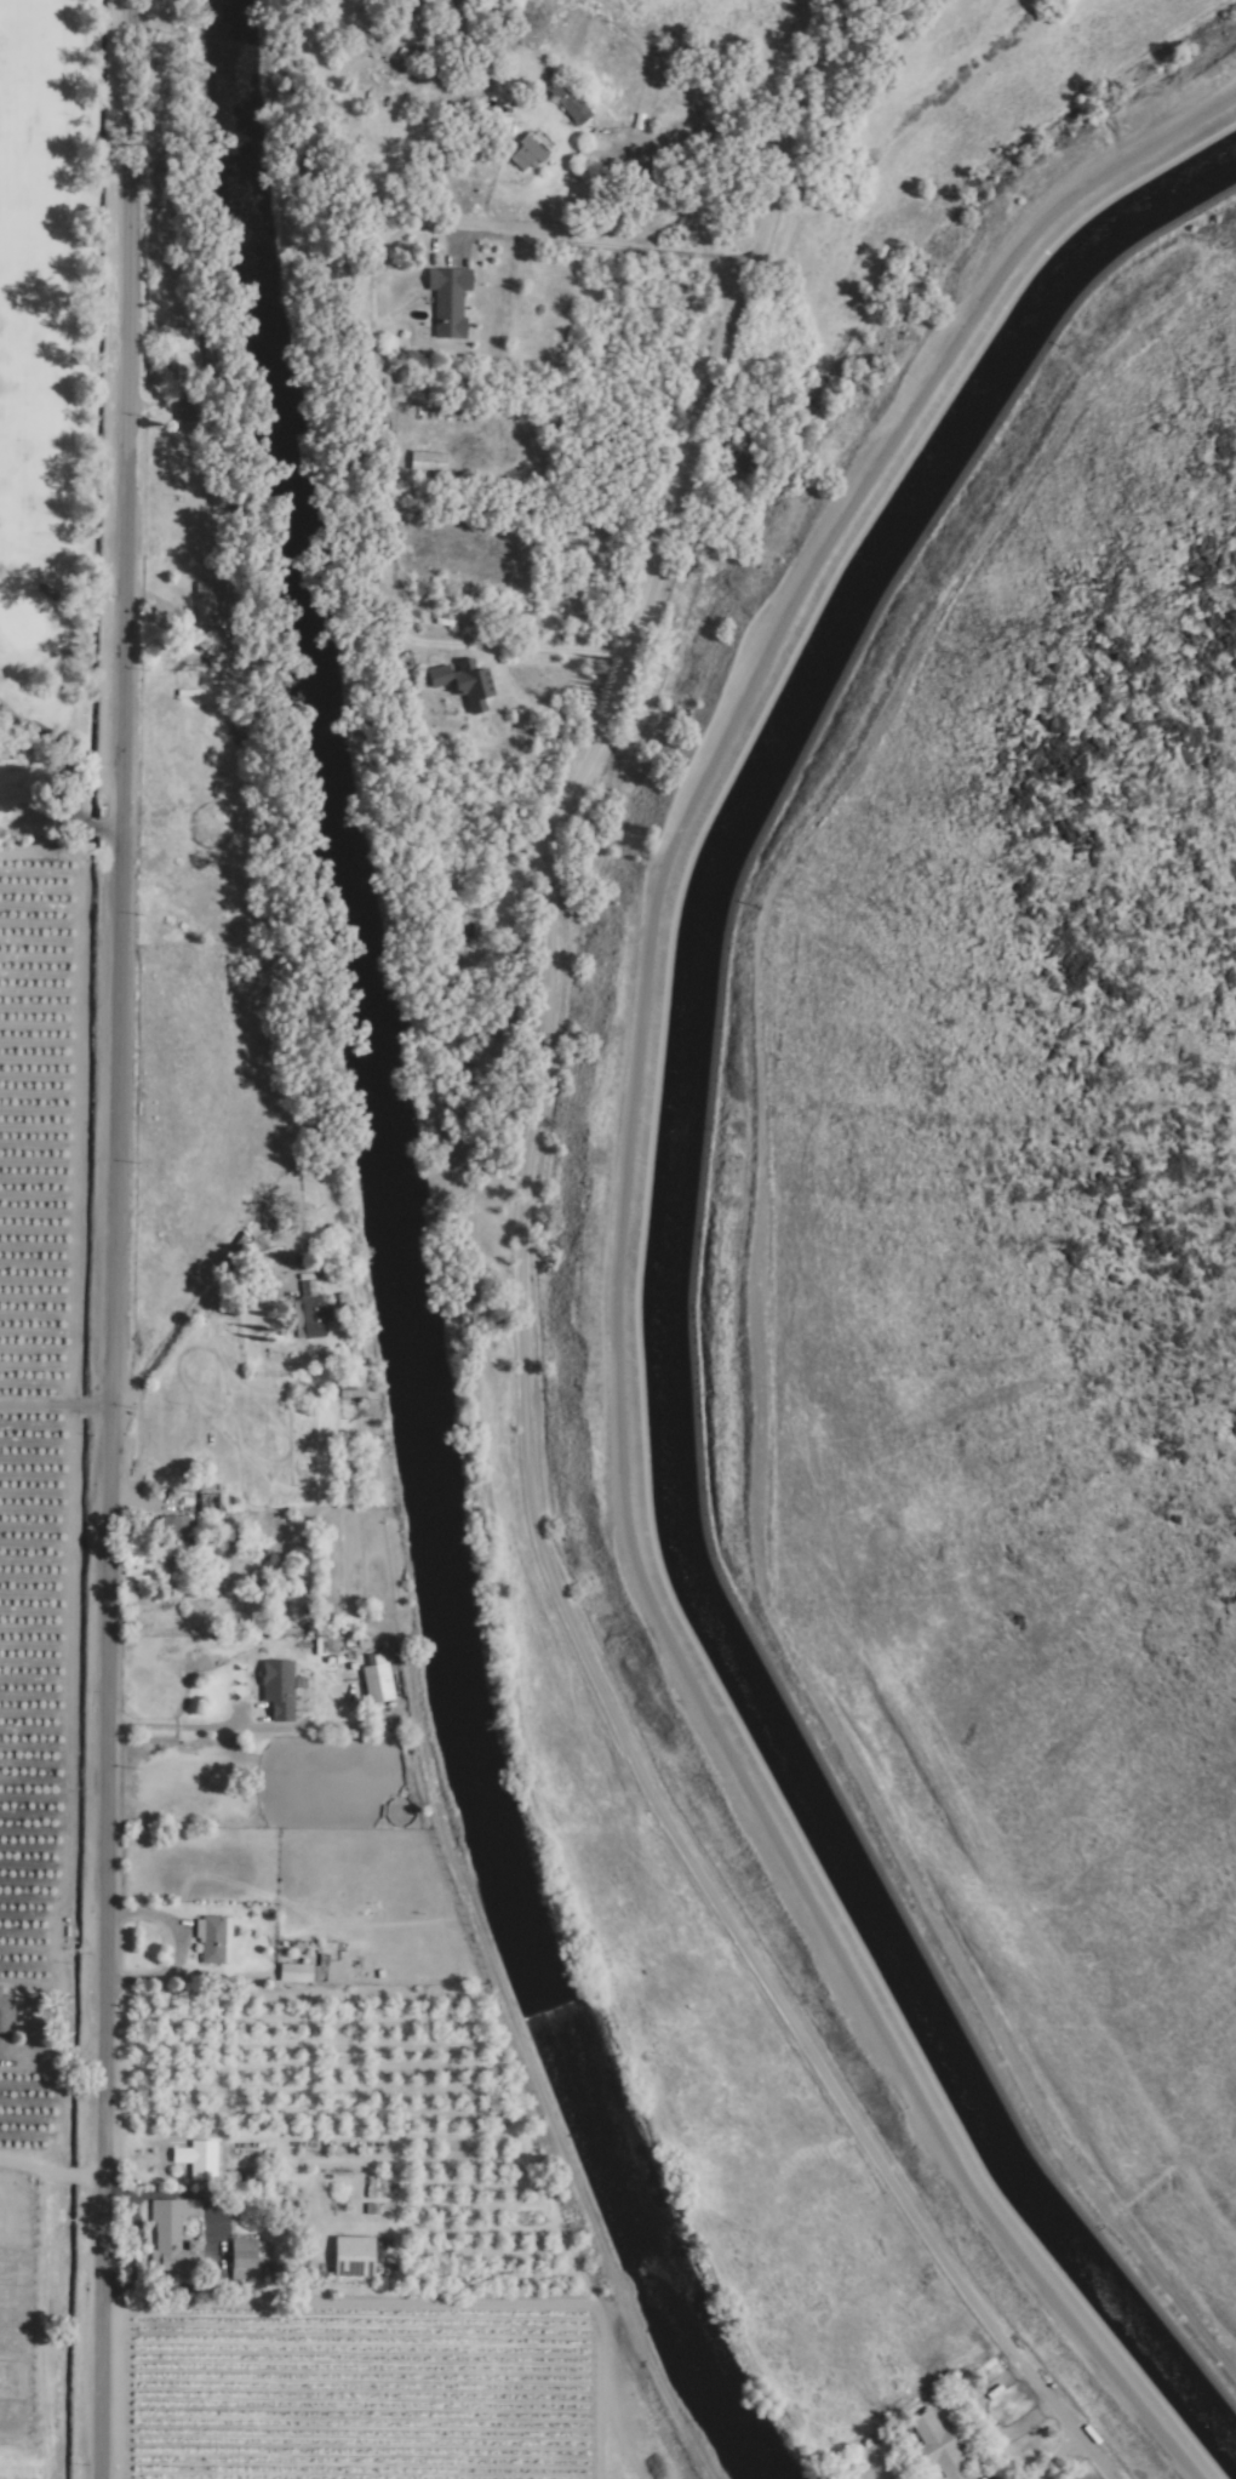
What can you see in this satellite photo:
building: (571, 101)
road: (692, 147)
building: (527, 152)
road: (773, 179)
road: (610, 245)
building: (448, 301)
building: (184, 348)
building: (185, 406)
park: (70, 413)
road: (372, 444)
building: (427, 461)
building: (206, 604)
road: (559, 649)
building: (459, 681)
road: (55, 782)
road: (111, 789)
building: (313, 1318)
road: (181, 1320)
building: (350, 1384)
road: (53, 1405)
road: (522, 1485)
building: (174, 1533)
building: (376, 1679)
building: (279, 1690)
road: (183, 1727)
building: (294, 1972)
building: (6, 2023)
road: (107, 2028)
road: (27, 2166)
road: (67, 2175)
road: (95, 2175)
building: (170, 2239)
building: (354, 2256)
building: (244, 2257)
road: (44, 2330)
building: (940, 2447)

